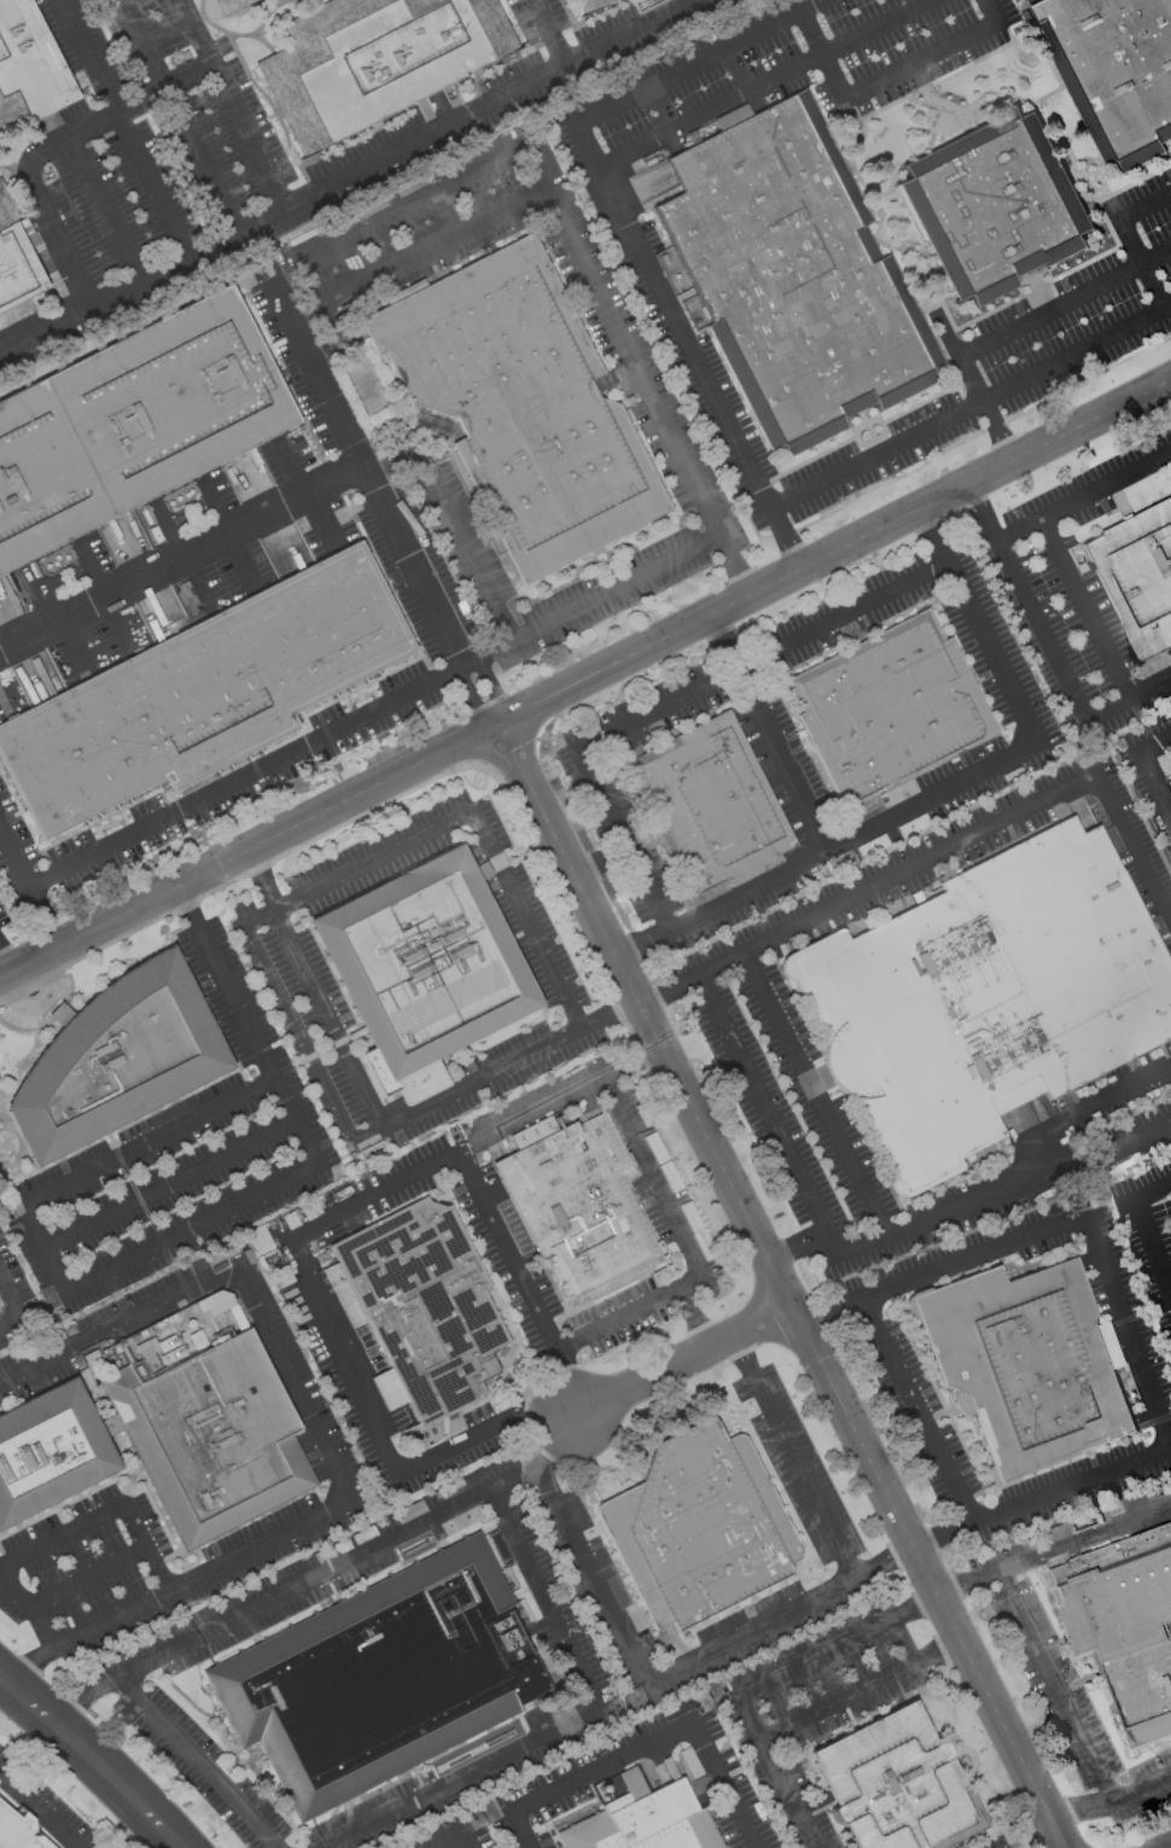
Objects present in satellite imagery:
building: (589, 4)
building: (226, 5)
road: (991, 12)
road: (550, 33)
road: (821, 54)
road: (695, 59)
building: (373, 60)
road: (919, 63)
building: (1114, 71)
building: (29, 72)
road: (761, 83)
road: (513, 93)
road: (231, 105)
road: (117, 107)
road: (176, 116)
road: (123, 128)
building: (994, 205)
road: (1146, 205)
road: (106, 206)
road: (569, 228)
road: (62, 231)
road: (439, 243)
building: (16, 261)
road: (1142, 262)
road: (164, 269)
building: (788, 273)
road: (319, 278)
road: (1066, 304)
road: (671, 313)
road: (975, 387)
road: (969, 404)
building: (519, 406)
building: (132, 422)
road: (365, 472)
road: (1083, 496)
road: (977, 499)
road: (450, 524)
road: (785, 537)
road: (834, 552)
road: (181, 558)
road: (736, 562)
building: (1137, 577)
road: (593, 599)
road: (1086, 606)
road: (1056, 657)
road: (491, 683)
building: (202, 693)
road: (465, 698)
road: (672, 699)
building: (889, 709)
road: (779, 758)
road: (1147, 764)
road: (244, 773)
road: (940, 786)
building: (709, 806)
road: (973, 833)
road: (249, 850)
road: (514, 855)
road: (12, 858)
road: (342, 874)
road: (40, 915)
road: (6, 957)
building: (423, 962)
parking lot: (289, 967)
road: (671, 987)
building: (985, 997)
parking lot: (37, 1004)
road: (39, 1004)
road: (246, 1022)
road: (33, 1045)
road: (231, 1053)
building: (116, 1059)
road: (631, 1059)
road: (232, 1063)
road: (818, 1094)
road: (378, 1115)
road: (769, 1115)
road: (1102, 1153)
parking lot: (176, 1155)
road: (444, 1156)
road: (652, 1173)
road: (1015, 1178)
road: (169, 1184)
building: (576, 1205)
road: (1142, 1232)
road: (42, 1247)
road: (799, 1248)
road: (503, 1251)
road: (174, 1269)
road: (782, 1284)
road: (12, 1295)
building: (424, 1306)
road: (628, 1310)
road: (692, 1314)
road: (1126, 1318)
road: (12, 1324)
road: (116, 1325)
road: (345, 1356)
road: (680, 1357)
building: (1026, 1364)
road: (561, 1380)
road: (291, 1383)
road: (919, 1410)
road: (483, 1430)
building: (211, 1438)
road: (558, 1444)
building: (48, 1451)
road: (515, 1482)
building: (698, 1527)
road: (1054, 1546)
road: (142, 1549)
building: (494, 1549)
road: (19, 1557)
road: (0, 1567)
road: (199, 1574)
road: (85, 1579)
road: (267, 1603)
road: (775, 1614)
building: (1124, 1626)
road: (837, 1642)
road: (30, 1665)
building: (379, 1677)
road: (1053, 1684)
road: (860, 1687)
road: (559, 1718)
road: (93, 1756)
road: (199, 1762)
road: (601, 1764)
road: (775, 1771)
road: (721, 1783)
building: (891, 1783)
road: (1142, 1789)
road: (1080, 1807)
road: (40, 1808)
building: (646, 1824)
road: (522, 1829)
building: (18, 1831)
road: (140, 1832)
road: (458, 1837)
road: (1169, 1847)

